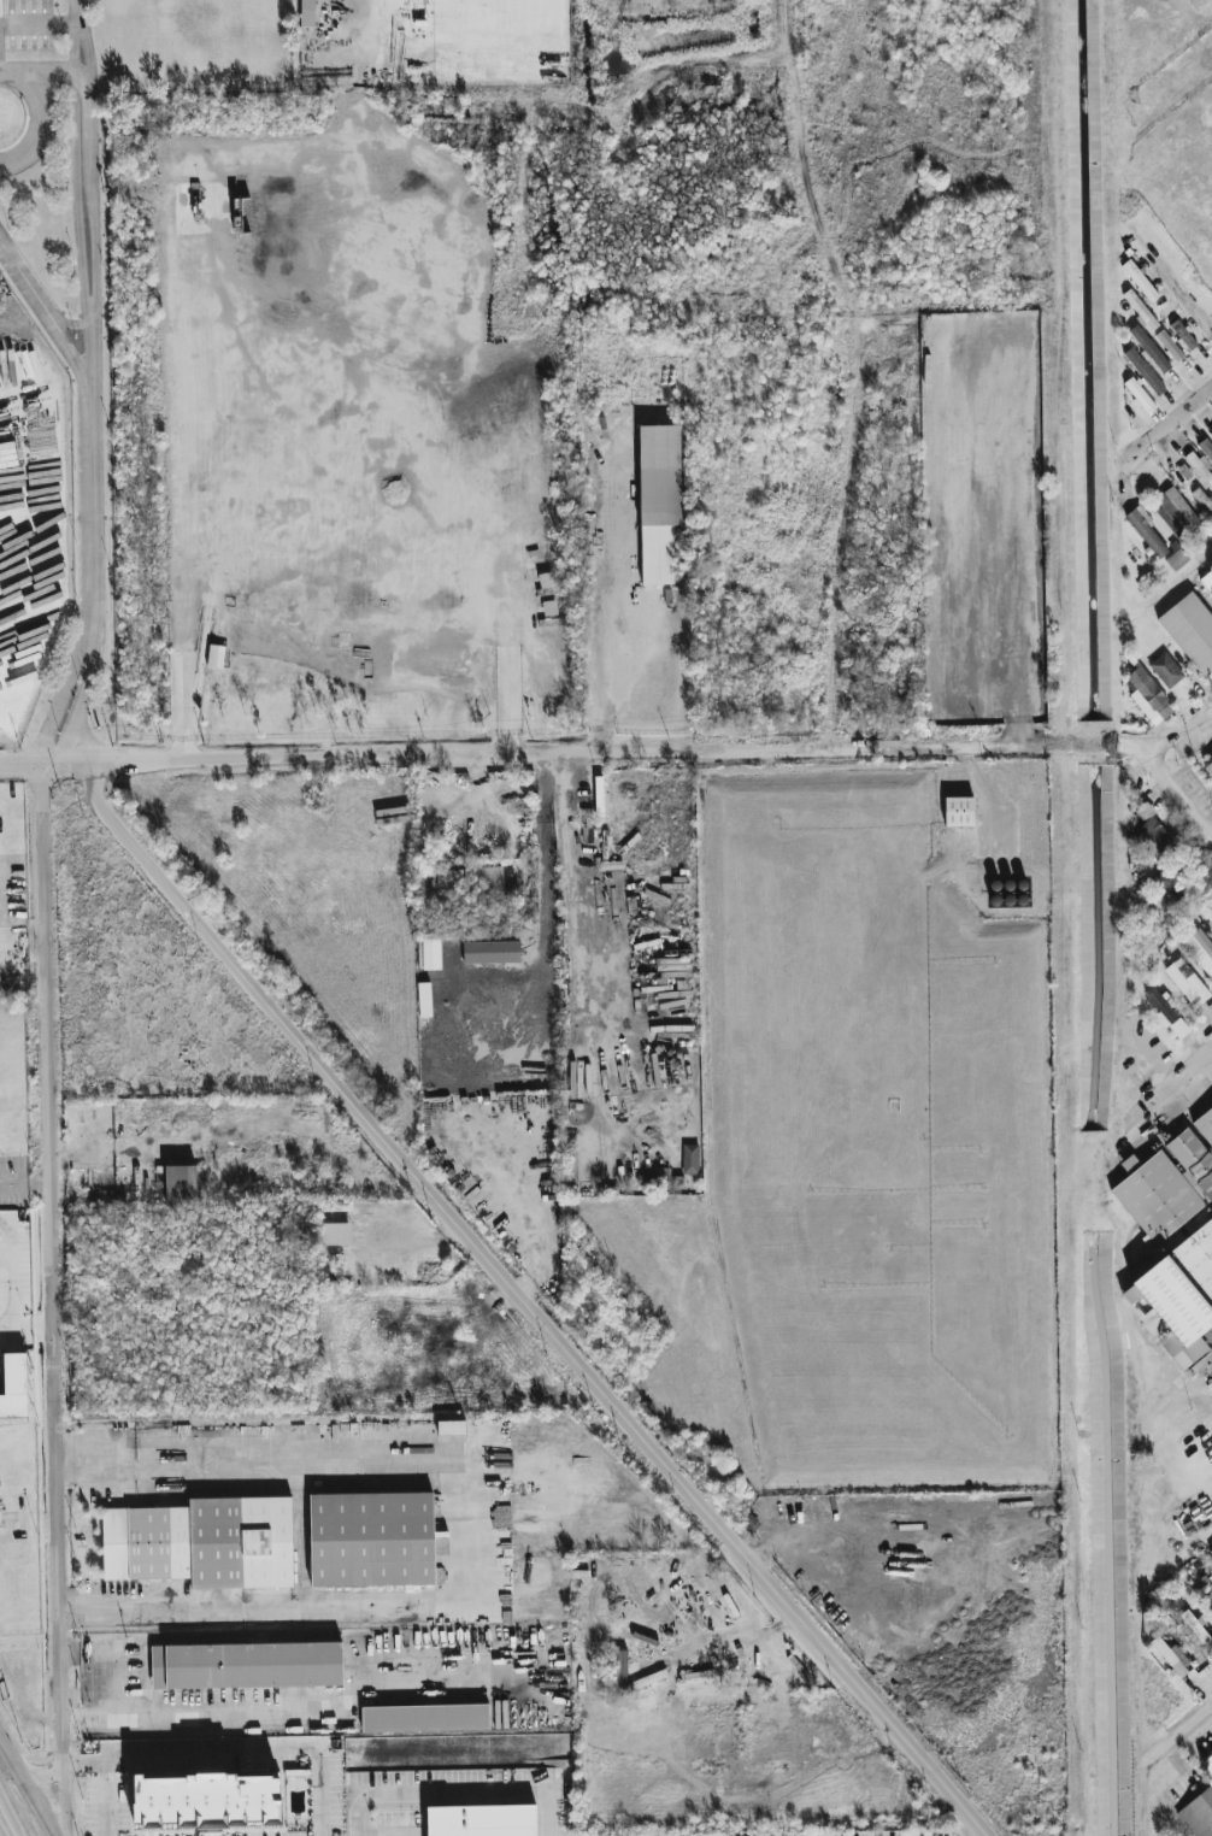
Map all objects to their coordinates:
building: (307, 13)
road: (73, 35)
road: (45, 72)
road: (6, 75)
road: (832, 77)
road: (659, 92)
road: (42, 124)
road: (528, 173)
road: (87, 225)
building: (1139, 281)
road: (1179, 295)
building: (1139, 310)
road: (48, 313)
building: (1182, 335)
building: (1169, 346)
building: (1149, 348)
road: (853, 371)
building: (1143, 371)
building: (1139, 395)
road: (1166, 425)
building: (1211, 434)
building: (1206, 448)
building: (1199, 469)
building: (1184, 472)
building: (658, 500)
building: (1202, 500)
road: (94, 510)
building: (1175, 512)
building: (1145, 530)
road: (347, 546)
building: (1176, 558)
building: (1206, 578)
road: (623, 604)
building: (1192, 632)
building: (214, 657)
building: (1165, 670)
road: (61, 695)
building: (1147, 696)
road: (78, 700)
road: (1177, 732)
road: (534, 754)
road: (25, 758)
building: (1208, 767)
building: (1106, 789)
road: (989, 793)
building: (1083, 793)
road: (1175, 795)
building: (958, 812)
building: (1149, 831)
building: (488, 878)
building: (1164, 881)
road: (567, 889)
building: (1200, 949)
building: (1152, 951)
building: (490, 952)
building: (1187, 983)
building: (1166, 1014)
road: (1169, 1083)
building: (690, 1159)
building: (666, 1178)
building: (1170, 1178)
road: (23, 1182)
building: (175, 1185)
building: (335, 1234)
road: (48, 1259)
road: (7, 1273)
road: (518, 1295)
building: (1177, 1295)
road: (25, 1326)
building: (11, 1379)
building: (451, 1428)
road: (263, 1466)
building: (371, 1540)
building: (204, 1544)
building: (1211, 1552)
road: (252, 1608)
road: (459, 1608)
building: (1198, 1631)
building: (1171, 1655)
building: (620, 1667)
building: (247, 1669)
road: (122, 1689)
road: (292, 1713)
building: (425, 1720)
road: (1155, 1750)
road: (231, 1752)
building: (1207, 1764)
road: (43, 1775)
road: (29, 1784)
road: (453, 1791)
road: (63, 1799)
building: (206, 1801)
road: (11, 1811)
building: (1198, 1814)
building: (483, 1819)
road: (1141, 1826)
road: (1, 1832)

